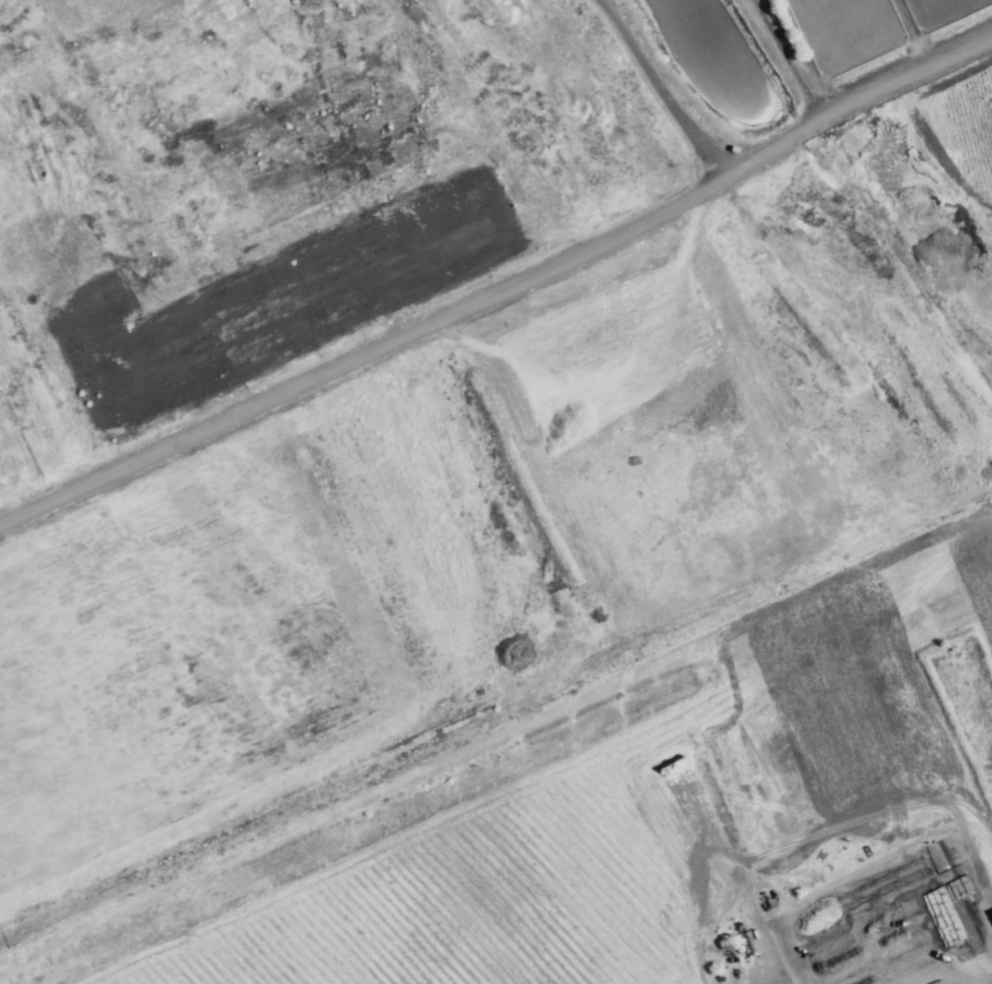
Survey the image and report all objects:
road: (659, 91)
crop: (953, 106)
road: (500, 287)
crop: (633, 824)
building: (760, 977)

